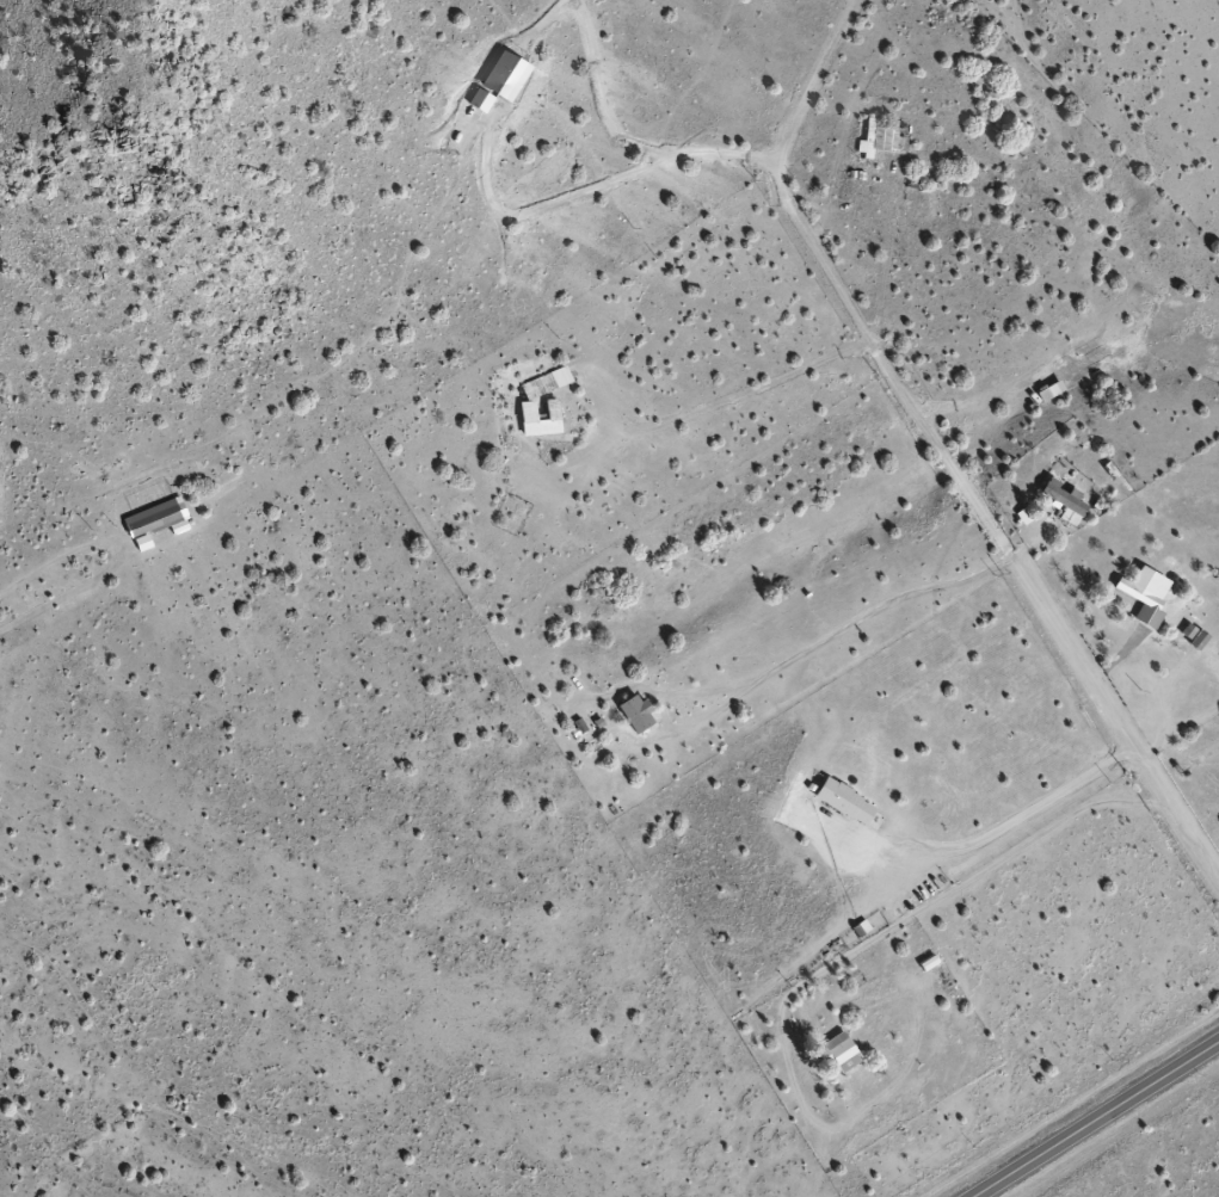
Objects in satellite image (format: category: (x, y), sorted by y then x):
building: (879, 137)
building: (541, 169)
building: (549, 401)
road: (937, 448)
building: (1063, 501)
building: (152, 518)
building: (1141, 594)
building: (633, 712)
building: (842, 801)
building: (838, 1054)
road: (1095, 1118)

